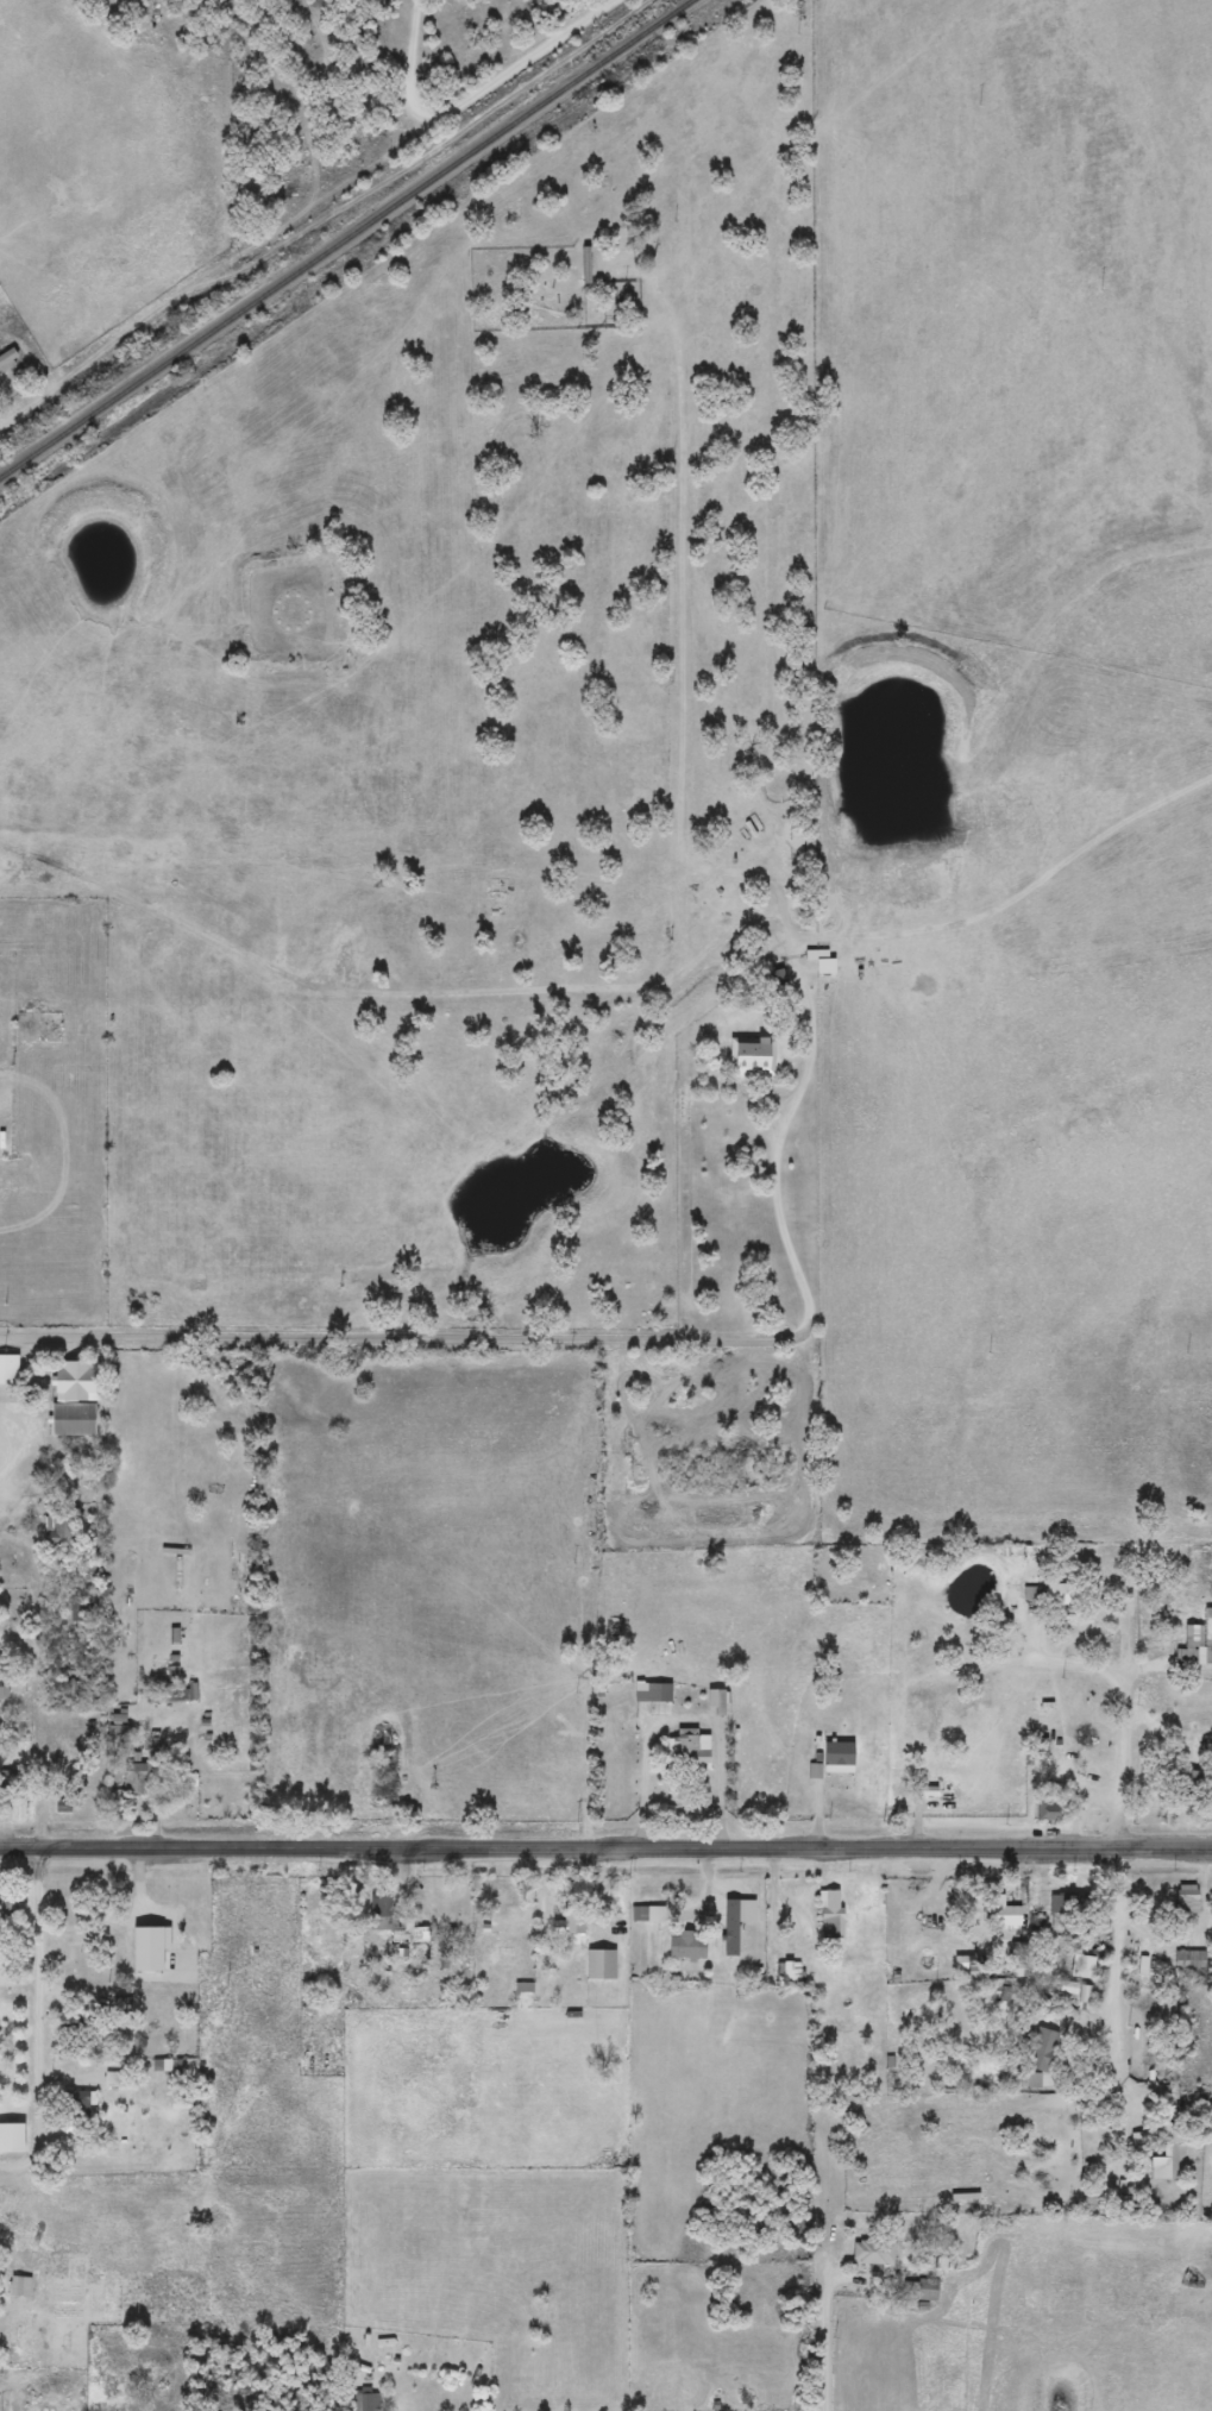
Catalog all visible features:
road: (307, 220)
railway: (346, 239)
building: (10, 360)
building: (806, 845)
building: (821, 966)
building: (773, 984)
building: (749, 1056)
road: (397, 1337)
building: (11, 1370)
building: (81, 1399)
building: (1032, 1594)
building: (81, 1612)
building: (1197, 1640)
building: (6, 1688)
building: (652, 1691)
building: (714, 1702)
road: (39, 1727)
road: (1109, 1738)
building: (1040, 1746)
building: (687, 1750)
building: (954, 1764)
building: (139, 1777)
building: (1185, 1782)
building: (1047, 1808)
building: (21, 1809)
road: (20, 1848)
road: (626, 1848)
building: (1186, 1898)
building: (1063, 1902)
building: (384, 1909)
building: (11, 1910)
building: (998, 1910)
building: (828, 1913)
building: (734, 1921)
building: (565, 1925)
building: (181, 1926)
building: (417, 1934)
road: (1110, 1940)
building: (684, 1944)
building: (139, 1951)
building: (1189, 1960)
building: (599, 1964)
building: (1080, 1966)
building: (790, 1973)
road: (38, 2023)
building: (1042, 2049)
building: (169, 2066)
building: (1021, 2079)
building: (83, 2102)
building: (15, 2136)
building: (1167, 2148)
building: (872, 2253)
building: (24, 2286)
building: (364, 2399)

